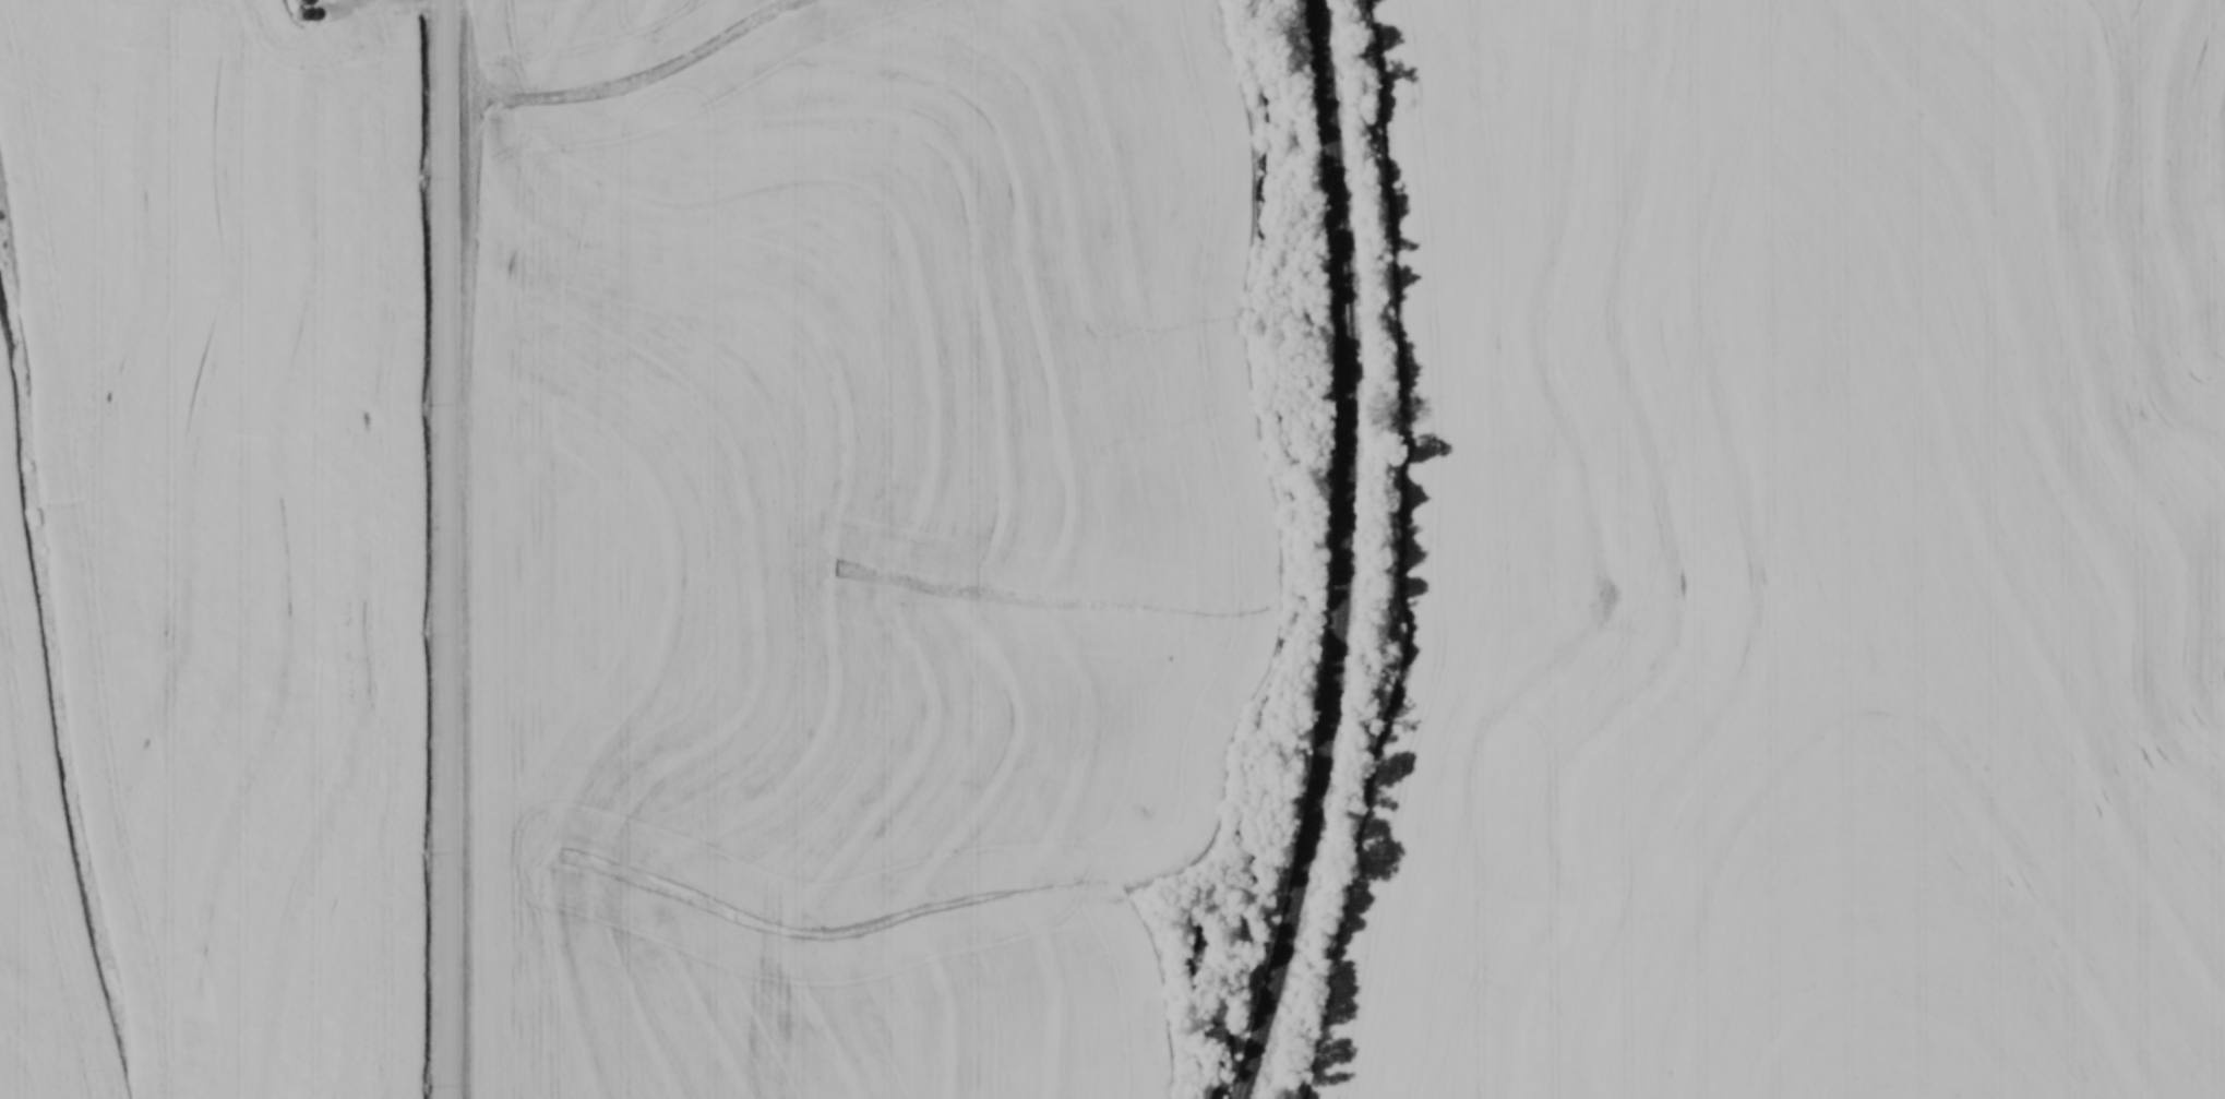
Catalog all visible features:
road: (448, 549)
railway: (1348, 553)

